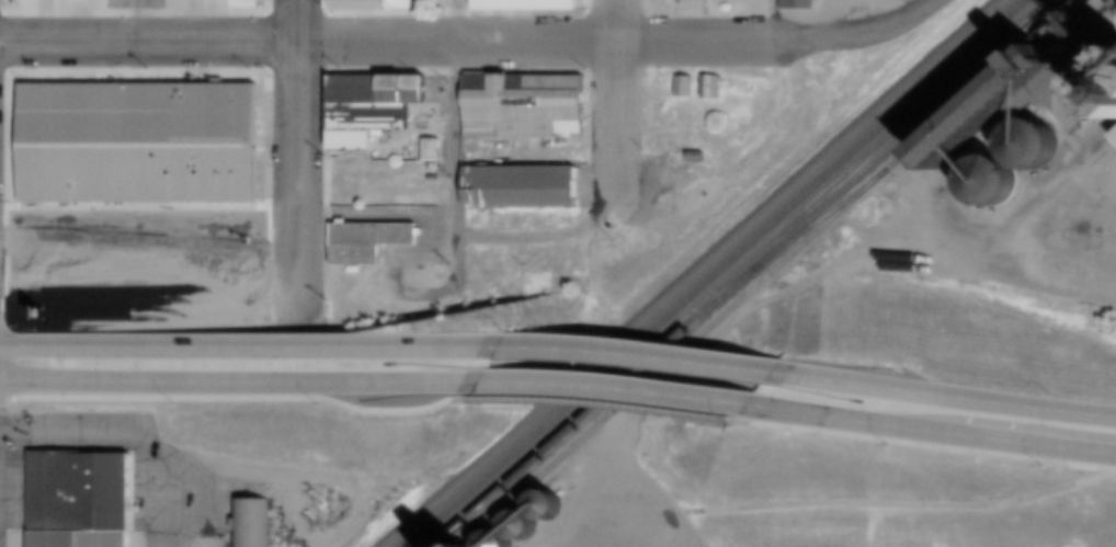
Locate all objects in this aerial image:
building: (526, 2)
building: (1113, 3)
building: (364, 5)
building: (405, 5)
building: (801, 5)
road: (135, 21)
road: (614, 21)
road: (892, 24)
road: (571, 42)
road: (149, 43)
building: (1109, 84)
silo: (1109, 84)
railway: (980, 86)
building: (688, 90)
building: (716, 90)
building: (382, 98)
building: (1058, 106)
building: (525, 107)
building: (993, 115)
building: (372, 126)
road: (613, 135)
building: (1115, 143)
road: (454, 144)
building: (141, 147)
building: (355, 148)
building: (433, 151)
building: (1037, 155)
silo: (1037, 155)
building: (699, 158)
road: (299, 162)
building: (997, 191)
silo: (997, 191)
building: (524, 192)
road: (376, 212)
railway: (816, 221)
road: (149, 225)
road: (528, 227)
building: (376, 238)
building: (358, 259)
railway: (715, 273)
railway: (699, 274)
railway: (747, 274)
road: (497, 288)
road: (250, 346)
road: (637, 353)
railway: (671, 358)
road: (240, 381)
road: (615, 387)
road: (943, 395)
road: (932, 429)
road: (134, 430)
building: (82, 501)
building: (551, 509)
silo: (551, 509)
building: (254, 524)
building: (526, 531)
silo: (526, 531)
building: (503, 542)
silo: (503, 542)

